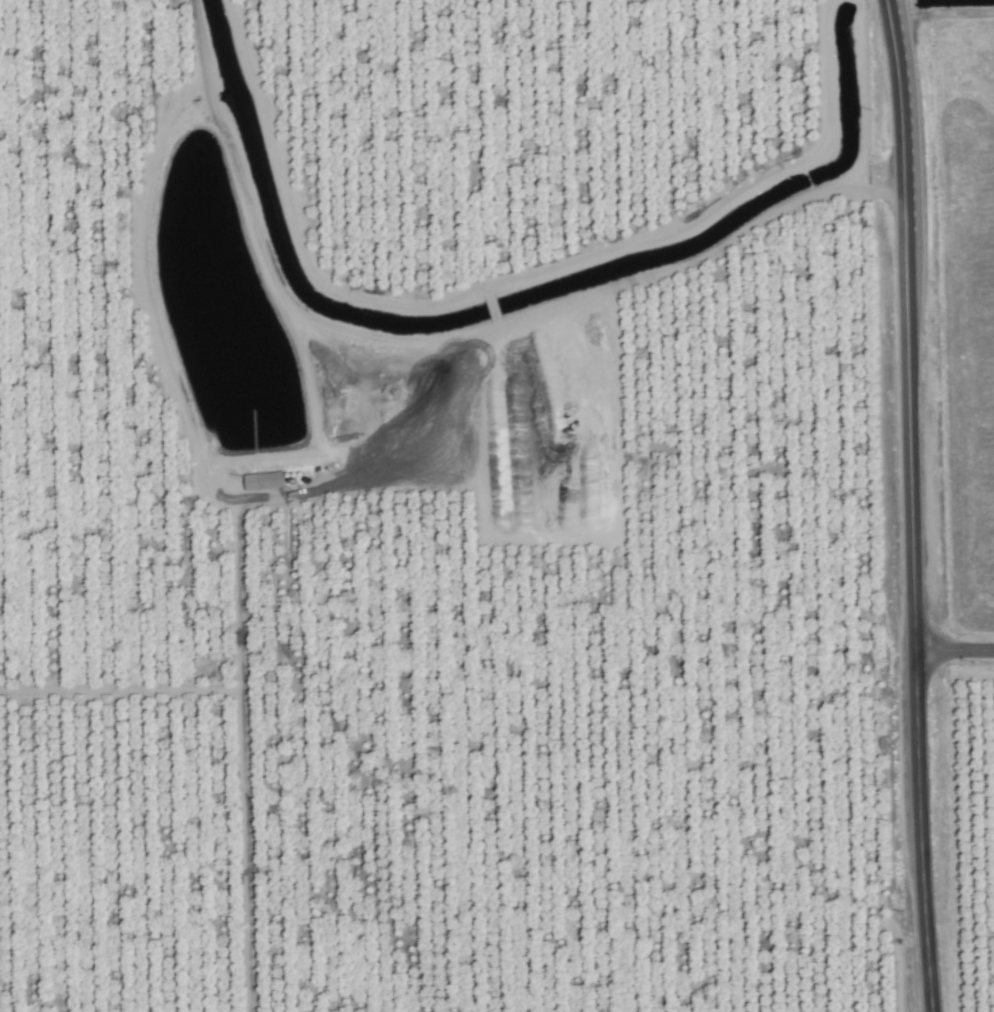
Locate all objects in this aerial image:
road: (666, 272)
road: (907, 506)
crop: (468, 518)
road: (952, 650)
road: (247, 768)

